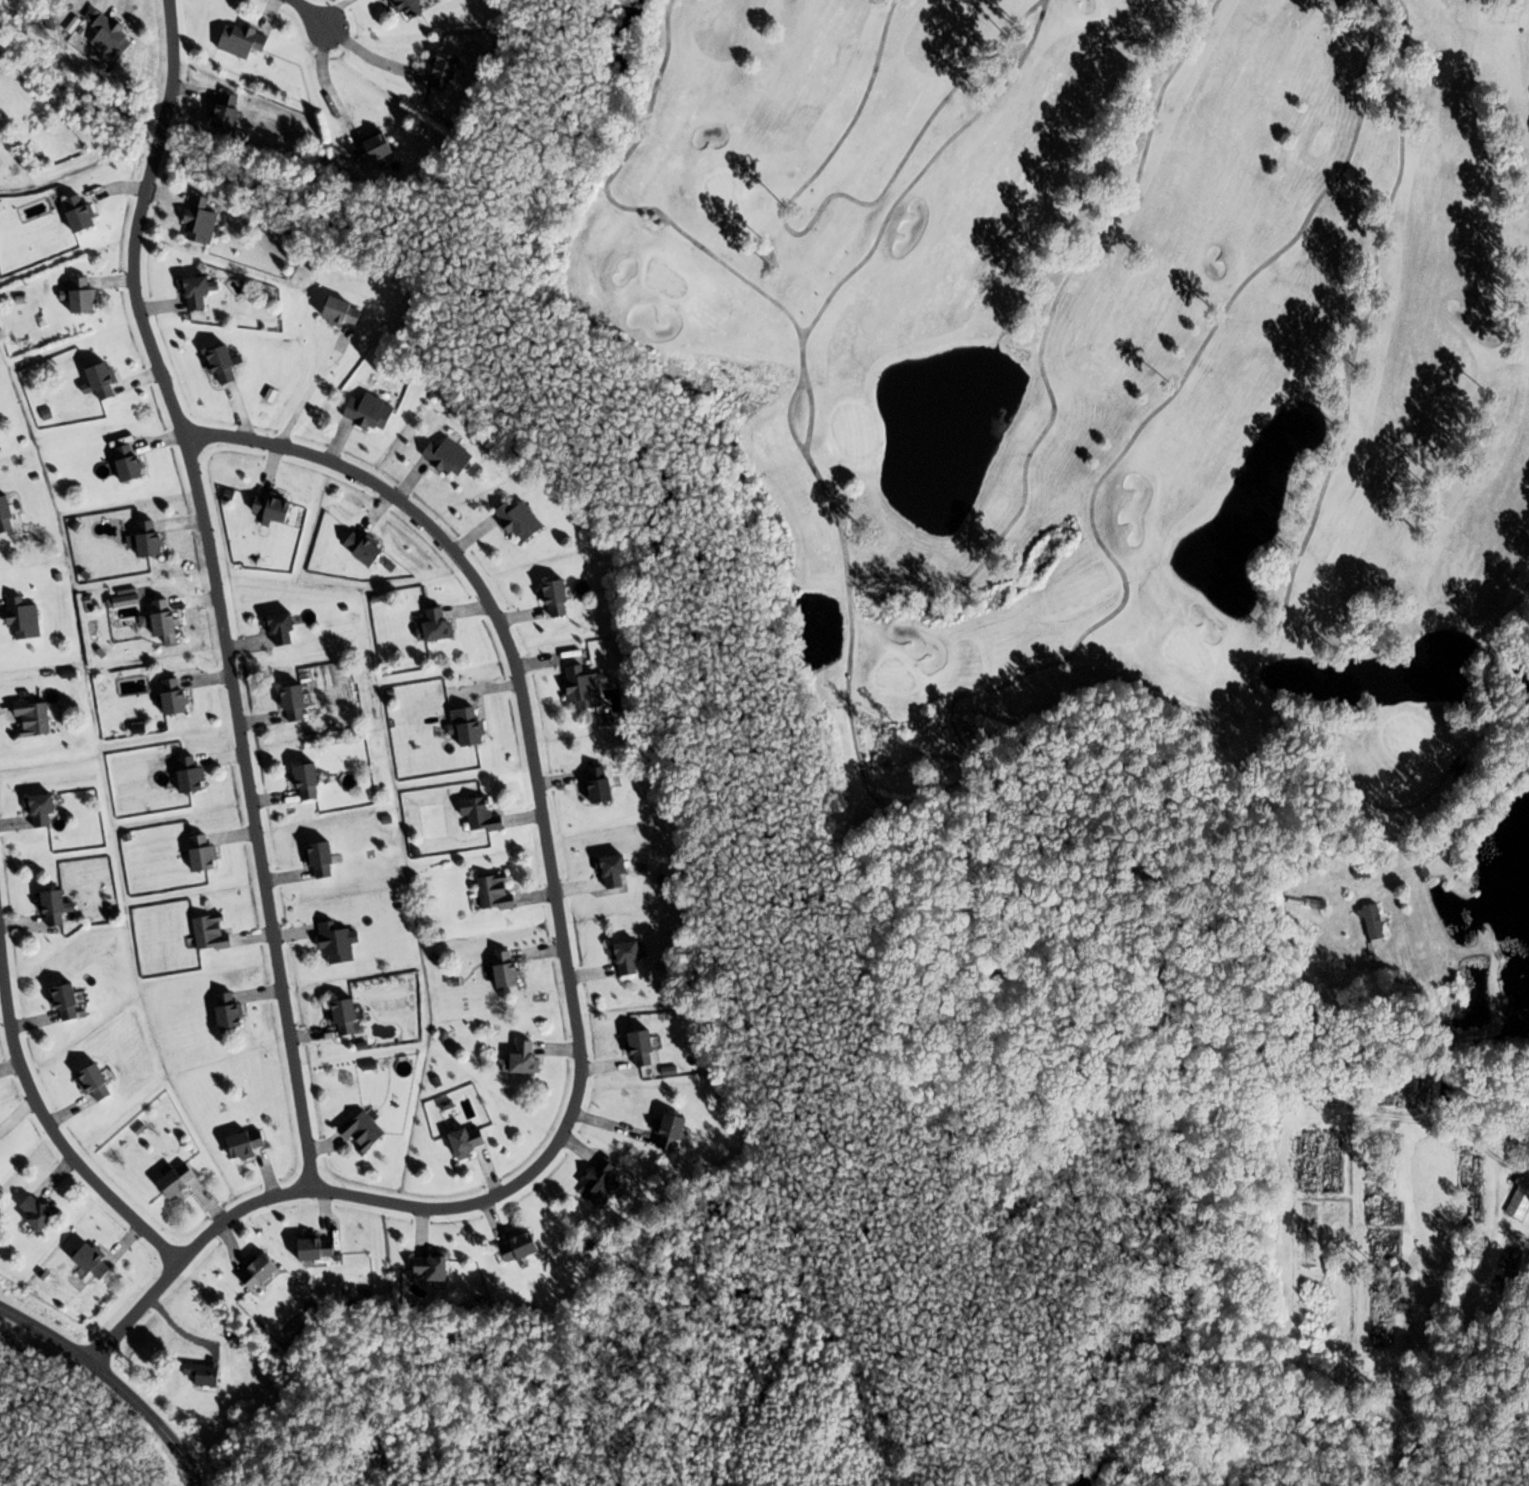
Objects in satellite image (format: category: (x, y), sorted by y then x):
building: (408, 7)
road: (321, 10)
building: (112, 39)
building: (243, 41)
building: (446, 71)
building: (229, 112)
building: (81, 214)
building: (200, 222)
building: (198, 291)
building: (84, 295)
building: (343, 311)
building: (225, 365)
building: (104, 380)
road: (312, 381)
building: (371, 411)
building: (450, 456)
building: (130, 463)
building: (273, 507)
building: (7, 515)
building: (521, 520)
building: (151, 540)
building: (365, 548)
road: (222, 588)
building: (558, 597)
building: (24, 619)
building: (166, 621)
building: (439, 624)
building: (283, 628)
building: (585, 687)
building: (175, 695)
building: (296, 703)
building: (34, 717)
building: (468, 726)
building: (192, 773)
building: (309, 782)
building: (601, 786)
building: (43, 809)
building: (481, 815)
road: (1447, 834)
building: (204, 854)
building: (323, 860)
building: (614, 870)
building: (1361, 874)
building: (496, 892)
road: (1357, 895)
building: (57, 907)
building: (212, 933)
building: (338, 943)
building: (630, 957)
road: (574, 967)
building: (509, 970)
building: (69, 1002)
building: (230, 1012)
building: (346, 1016)
building: (644, 1049)
building: (527, 1057)
building: (97, 1082)
building: (1404, 1091)
building: (1314, 1093)
building: (1424, 1093)
road: (40, 1100)
building: (363, 1130)
building: (673, 1131)
building: (469, 1142)
building: (246, 1145)
building: (1309, 1162)
building: (1329, 1162)
building: (180, 1180)
building: (601, 1184)
building: (1477, 1189)
building: (1519, 1203)
building: (39, 1212)
building: (1308, 1237)
building: (521, 1248)
building: (318, 1249)
building: (95, 1262)
building: (1508, 1262)
building: (432, 1267)
building: (260, 1273)
building: (209, 1374)
road: (113, 1381)

